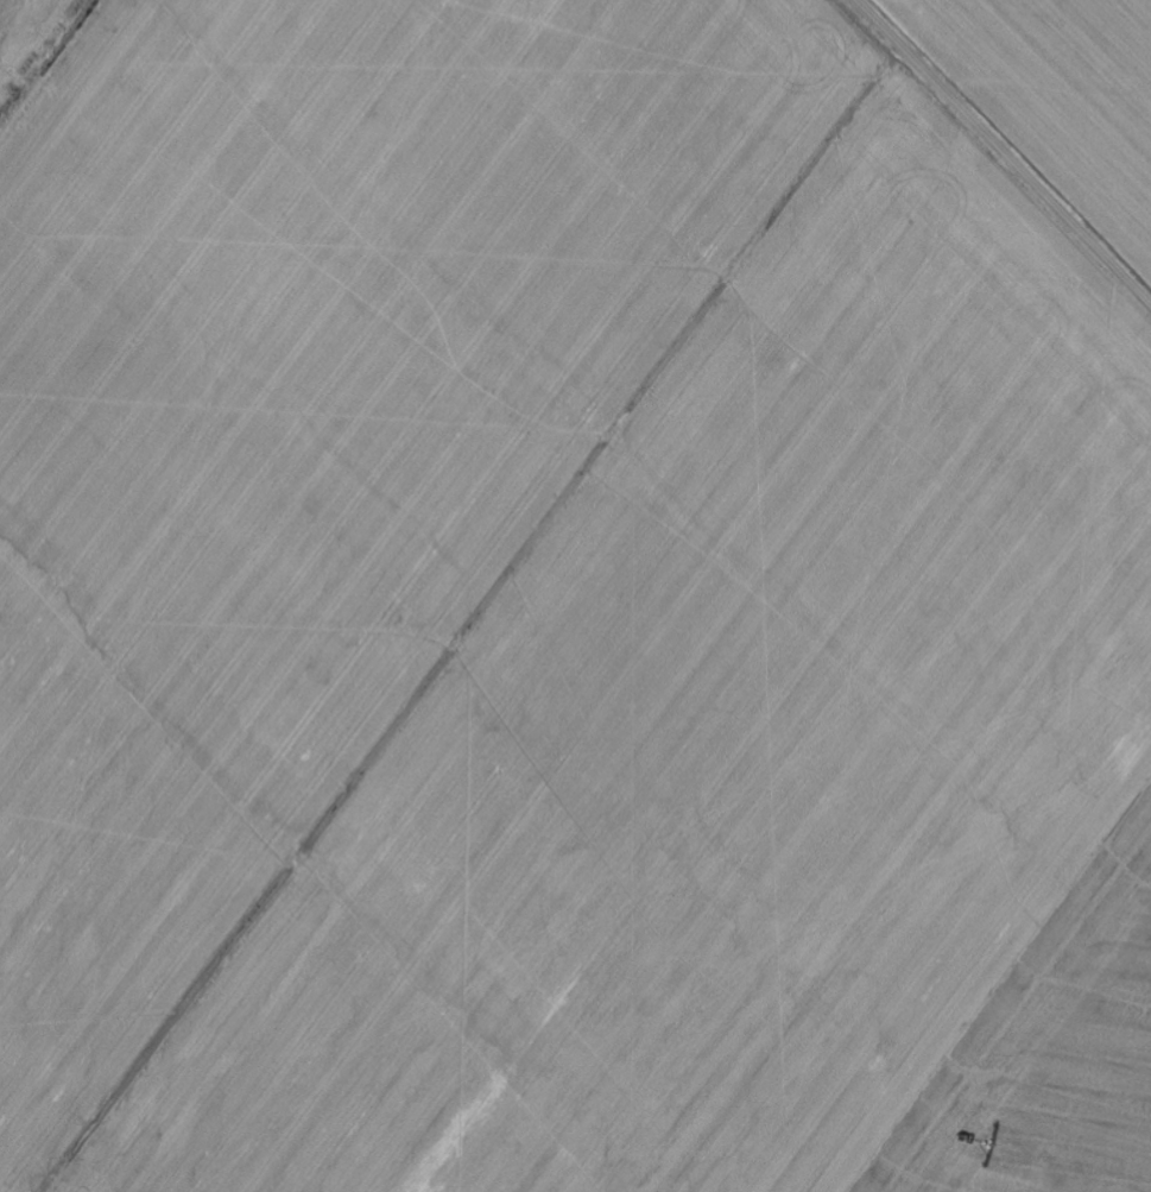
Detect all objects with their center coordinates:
road: (934, 76)
road: (1079, 229)

